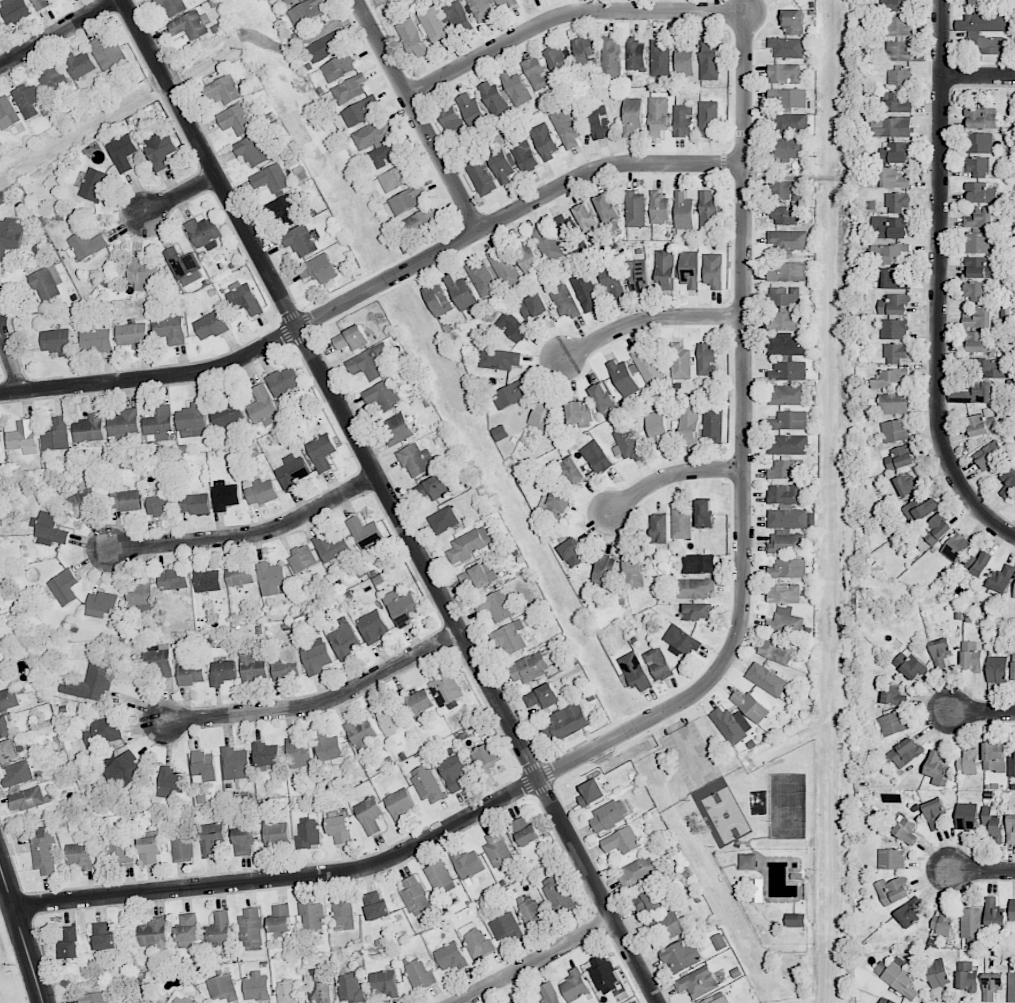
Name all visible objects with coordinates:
building: (286, 1)
building: (982, 2)
building: (505, 3)
building: (40, 4)
building: (894, 4)
building: (172, 7)
building: (14, 10)
building: (482, 10)
building: (307, 12)
road: (566, 13)
building: (458, 17)
building: (982, 20)
building: (794, 21)
building: (190, 25)
building: (434, 25)
building: (1, 28)
road: (58, 32)
building: (412, 37)
building: (900, 38)
building: (987, 44)
building: (327, 45)
building: (787, 47)
building: (582, 53)
building: (108, 54)
building: (635, 55)
building: (684, 55)
building: (610, 59)
building: (659, 59)
building: (709, 61)
building: (558, 62)
building: (80, 64)
building: (338, 67)
building: (536, 73)
building: (785, 73)
building: (900, 77)
road: (978, 77)
building: (54, 78)
building: (516, 88)
building: (348, 89)
building: (223, 90)
building: (27, 99)
building: (494, 99)
building: (786, 100)
building: (898, 103)
building: (360, 111)
building: (472, 111)
building: (8, 113)
road: (418, 115)
building: (632, 116)
building: (658, 116)
building: (708, 117)
building: (981, 118)
building: (235, 120)
building: (451, 120)
building: (683, 120)
building: (599, 122)
building: (788, 123)
building: (891, 127)
building: (566, 129)
building: (371, 133)
building: (544, 141)
building: (980, 142)
building: (787, 148)
building: (159, 150)
building: (252, 150)
building: (123, 152)
building: (896, 152)
building: (387, 153)
building: (524, 155)
building: (501, 163)
building: (977, 166)
building: (481, 176)
building: (395, 177)
building: (270, 178)
building: (894, 178)
building: (94, 184)
building: (787, 190)
building: (980, 192)
road: (180, 194)
building: (406, 200)
building: (898, 202)
building: (659, 207)
building: (635, 209)
building: (285, 210)
building: (683, 211)
building: (709, 211)
building: (608, 212)
building: (786, 214)
building: (586, 217)
building: (423, 218)
building: (980, 218)
building: (890, 227)
building: (204, 232)
building: (569, 234)
building: (10, 237)
building: (300, 240)
building: (787, 240)
building: (979, 242)
building: (86, 244)
building: (546, 244)
building: (888, 252)
building: (524, 256)
building: (184, 267)
building: (503, 267)
building: (318, 268)
building: (664, 268)
building: (979, 268)
building: (690, 269)
building: (713, 270)
building: (788, 272)
building: (143, 274)
building: (637, 276)
building: (481, 277)
building: (891, 278)
building: (612, 281)
building: (46, 282)
road: (939, 283)
road: (376, 287)
building: (585, 291)
building: (978, 291)
building: (460, 292)
building: (786, 296)
building: (244, 297)
building: (437, 299)
building: (563, 300)
building: (894, 305)
building: (532, 306)
building: (977, 317)
road: (648, 318)
building: (788, 321)
building: (211, 325)
building: (512, 327)
building: (894, 328)
building: (171, 330)
building: (133, 335)
building: (351, 338)
building: (96, 340)
building: (979, 341)
building: (56, 342)
building: (787, 345)
building: (895, 353)
building: (499, 359)
building: (706, 359)
road: (10, 360)
building: (680, 362)
building: (367, 363)
building: (647, 367)
building: (991, 368)
building: (788, 371)
building: (888, 377)
building: (623, 378)
building: (284, 380)
building: (978, 393)
building: (510, 394)
building: (785, 395)
building: (381, 396)
building: (602, 399)
building: (893, 404)
building: (262, 406)
building: (543, 412)
building: (580, 413)
building: (226, 414)
building: (192, 420)
building: (789, 420)
building: (124, 422)
building: (160, 423)
building: (688, 423)
building: (981, 423)
building: (712, 424)
building: (89, 428)
building: (397, 428)
building: (657, 429)
building: (895, 430)
building: (500, 433)
building: (56, 435)
building: (23, 437)
building: (628, 443)
building: (788, 444)
building: (321, 452)
building: (989, 455)
building: (596, 457)
building: (900, 457)
building: (415, 460)
building: (787, 470)
building: (572, 471)
building: (292, 472)
road: (669, 476)
building: (1008, 482)
building: (908, 484)
building: (432, 488)
building: (261, 492)
building: (225, 495)
building: (126, 500)
building: (86, 501)
road: (391, 501)
building: (557, 503)
building: (196, 504)
building: (161, 505)
building: (786, 507)
building: (919, 509)
building: (704, 513)
building: (443, 520)
building: (681, 522)
building: (660, 528)
building: (937, 528)
building: (49, 529)
building: (364, 532)
road: (250, 535)
building: (786, 542)
building: (468, 544)
building: (331, 545)
building: (573, 552)
building: (302, 559)
building: (698, 563)
building: (978, 563)
building: (789, 568)
building: (631, 569)
building: (604, 571)
building: (239, 574)
building: (477, 577)
building: (271, 578)
building: (1001, 578)
building: (172, 579)
building: (206, 580)
building: (64, 587)
building: (692, 587)
building: (784, 593)
building: (141, 594)
building: (1014, 594)
building: (101, 604)
building: (496, 605)
building: (401, 607)
building: (697, 611)
building: (785, 623)
building: (372, 626)
building: (510, 637)
building: (344, 640)
building: (681, 641)
building: (775, 651)
building: (940, 652)
building: (158, 657)
building: (316, 657)
building: (971, 661)
building: (658, 663)
building: (910, 665)
building: (253, 667)
building: (529, 667)
building: (286, 669)
building: (997, 669)
building: (191, 671)
building: (635, 671)
building: (222, 672)
building: (766, 679)
building: (91, 682)
building: (0, 684)
building: (446, 689)
building: (895, 695)
building: (542, 696)
building: (9, 699)
road: (321, 701)
road: (683, 702)
building: (417, 704)
building: (750, 706)
road: (984, 713)
building: (389, 718)
building: (568, 720)
building: (893, 723)
building: (731, 724)
building: (5, 726)
building: (99, 732)
building: (361, 735)
road: (684, 745)
building: (328, 747)
building: (8, 751)
building: (904, 752)
building: (298, 753)
building: (266, 755)
building: (486, 755)
building: (993, 756)
building: (968, 762)
building: (235, 763)
building: (204, 766)
building: (935, 767)
building: (452, 769)
building: (123, 771)
building: (18, 774)
building: (170, 782)
building: (426, 784)
building: (591, 793)
building: (27, 799)
building: (399, 804)
park: (787, 805)
building: (934, 813)
building: (369, 815)
building: (609, 815)
park: (725, 815)
building: (966, 816)
building: (993, 827)
building: (340, 829)
building: (1010, 829)
building: (906, 830)
building: (525, 831)
building: (309, 832)
building: (276, 833)
building: (211, 838)
building: (244, 841)
building: (621, 841)
building: (182, 847)
building: (150, 849)
building: (121, 850)
building: (44, 851)
building: (498, 851)
building: (80, 856)
building: (892, 859)
building: (748, 861)
building: (467, 864)
building: (638, 871)
road: (983, 873)
building: (439, 878)
building: (756, 890)
building: (892, 890)
building: (556, 893)
building: (417, 899)
building: (647, 901)
building: (376, 905)
building: (1012, 911)
building: (345, 912)
building: (532, 912)
building: (994, 912)
building: (908, 914)
building: (312, 915)
building: (281, 918)
building: (795, 920)
building: (970, 922)
building: (942, 923)
building: (665, 925)
building: (505, 927)
building: (187, 928)
building: (219, 929)
building: (251, 929)
road: (23, 931)
building: (155, 935)
building: (104, 937)
building: (476, 941)
building: (69, 943)
building: (450, 956)
building: (681, 956)
road: (536, 961)
building: (938, 973)
building: (419, 974)
building: (603, 974)
building: (967, 977)
building: (898, 978)
building: (697, 982)
building: (871, 982)
building: (384, 983)
building: (319, 985)
building: (574, 985)
building: (992, 985)
building: (257, 986)
building: (1011, 987)
building: (222, 988)
building: (350, 989)
building: (288, 992)
building: (549, 993)
building: (96, 997)
building: (179, 998)
building: (717, 998)
building: (516, 1001)
building: (886, 1001)

